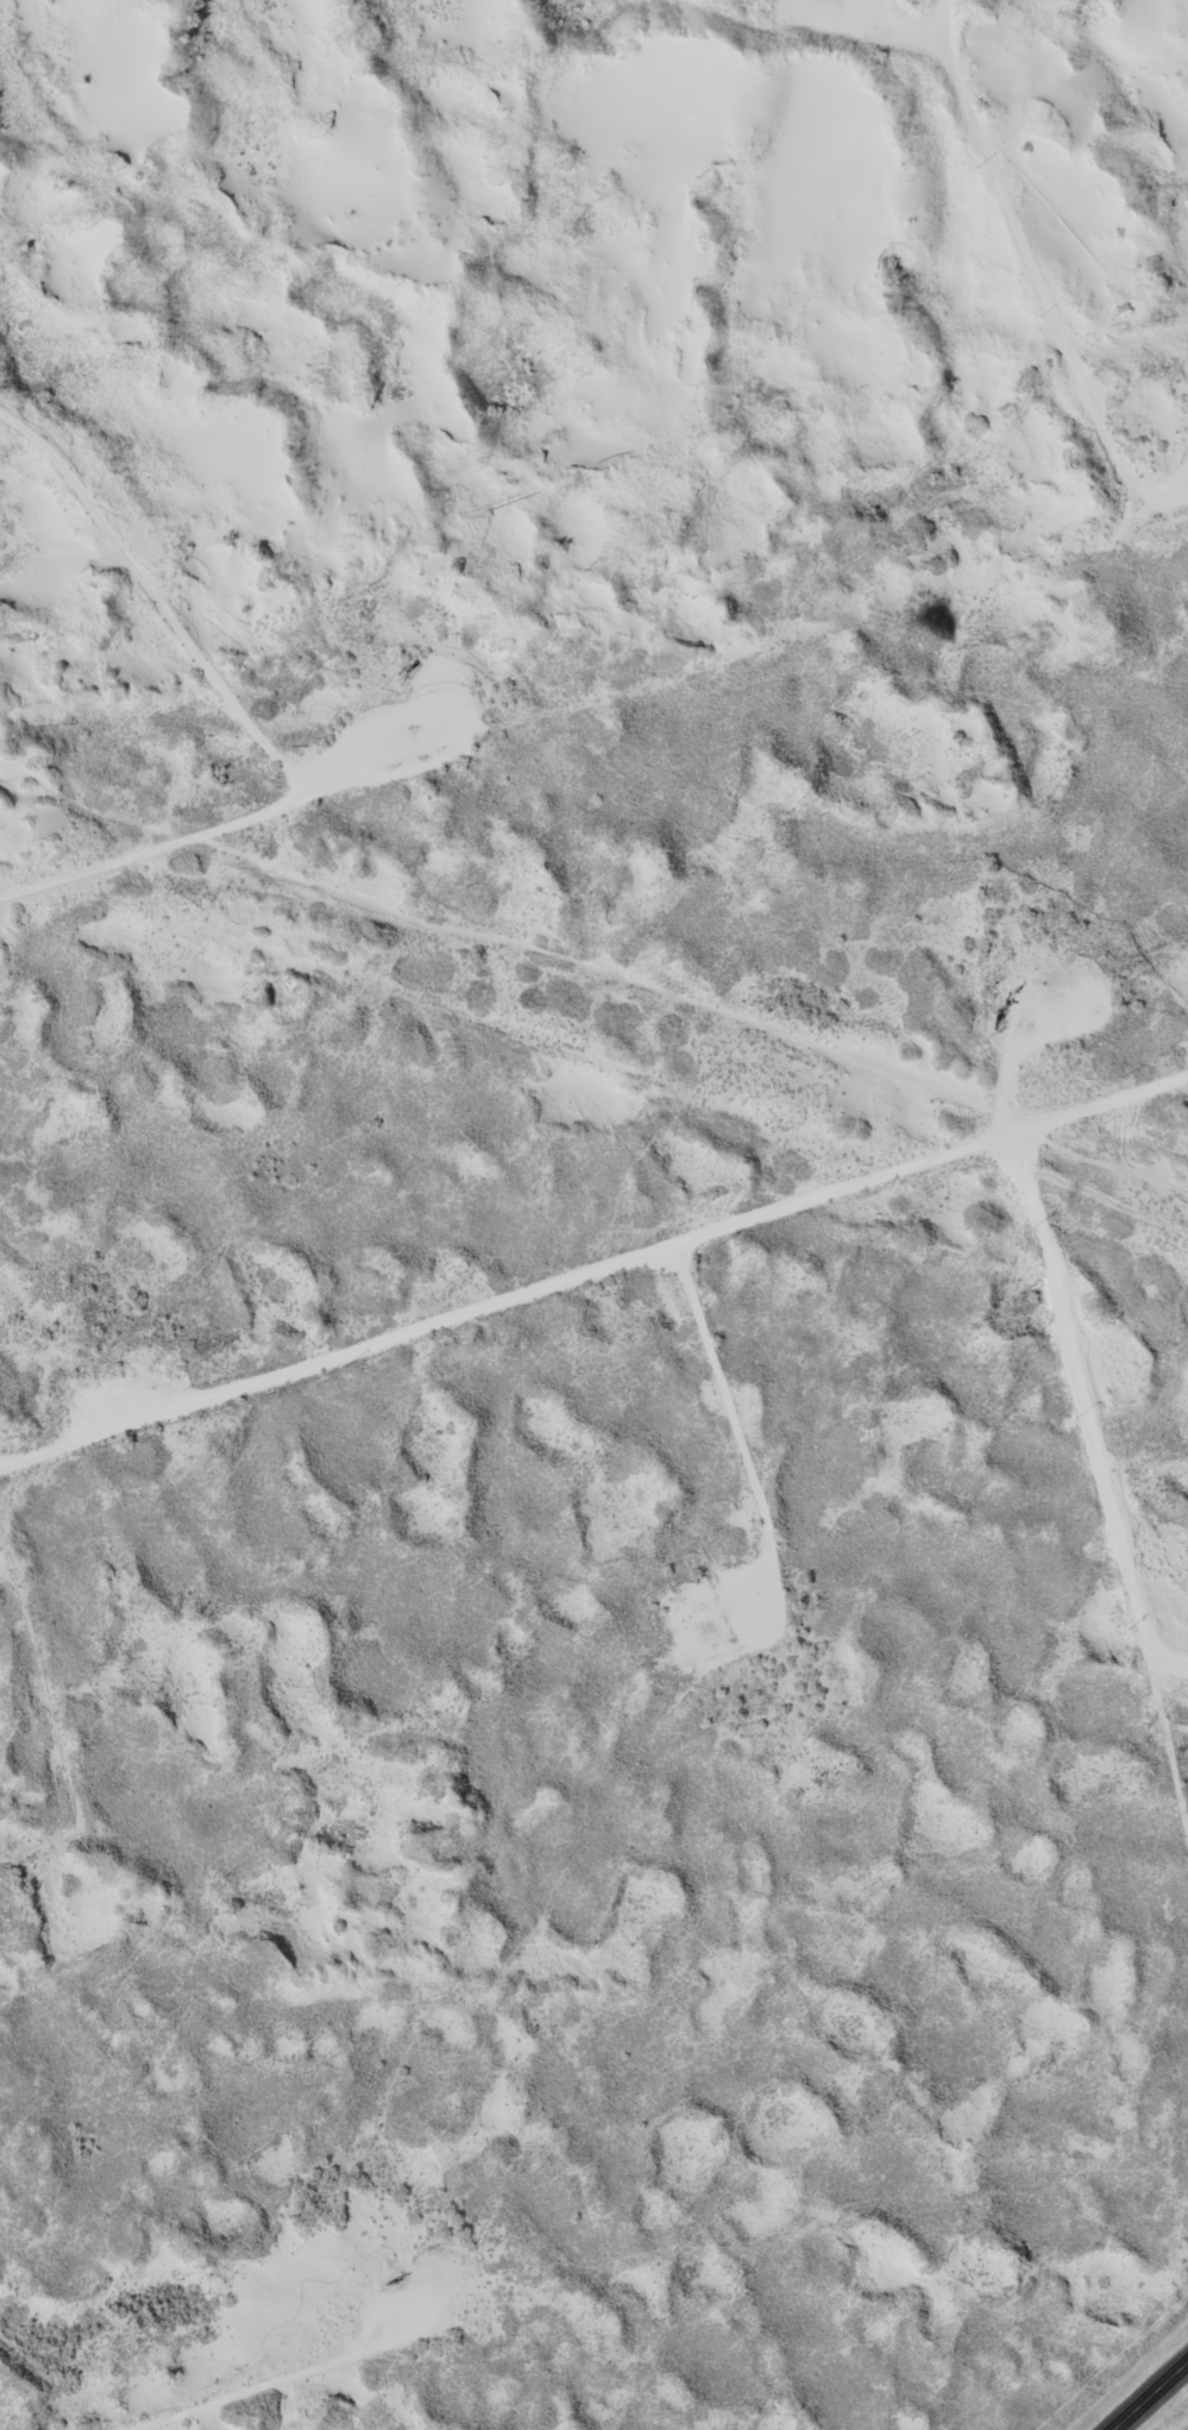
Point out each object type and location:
road: (593, 1277)
road: (243, 2394)
road: (1152, 2397)

